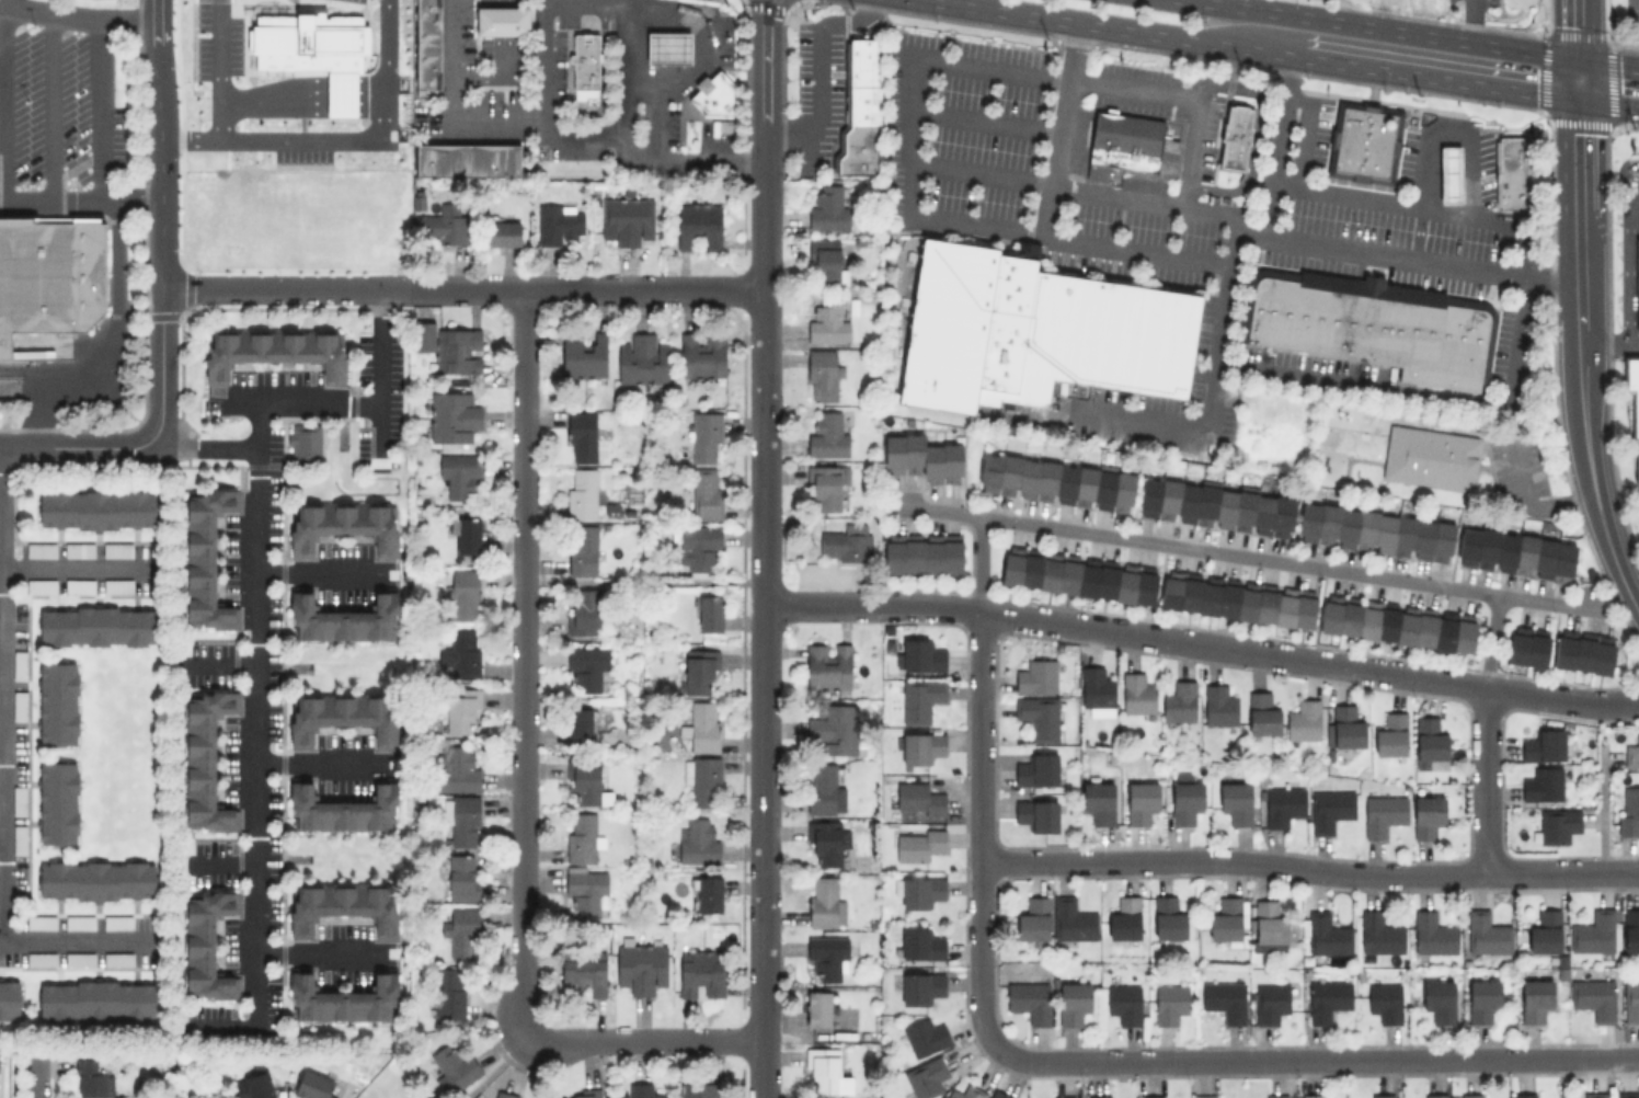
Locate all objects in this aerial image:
road: (504, 1)
road: (596, 2)
road: (8, 3)
road: (76, 16)
building: (504, 19)
road: (504, 19)
road: (1467, 20)
road: (1114, 27)
road: (1388, 28)
road: (1574, 28)
road: (704, 41)
building: (428, 43)
road: (664, 45)
building: (671, 46)
road: (678, 46)
road: (219, 54)
building: (309, 56)
building: (586, 58)
traffic signals: (1575, 59)
road: (546, 60)
road: (1607, 61)
gas station: (692, 62)
road: (817, 71)
road: (1433, 76)
road: (500, 77)
road: (1575, 78)
road: (603, 82)
road: (334, 87)
road: (366, 87)
road: (764, 87)
road: (313, 88)
road: (308, 94)
road: (333, 94)
road: (366, 94)
building: (717, 95)
building: (333, 96)
traffic signals: (1577, 98)
road: (305, 102)
road: (334, 102)
road: (366, 102)
road: (1607, 102)
road: (1, 105)
parking lot: (57, 106)
road: (49, 108)
road: (271, 108)
road: (333, 108)
road: (366, 108)
building: (863, 108)
road: (101, 112)
road: (908, 118)
road: (655, 119)
road: (984, 121)
road: (222, 123)
road: (546, 128)
road: (1452, 133)
building: (1237, 134)
road: (1254, 134)
road: (341, 137)
building: (1365, 142)
building: (1128, 144)
road: (159, 145)
road: (1276, 146)
road: (1303, 146)
building: (469, 158)
road: (686, 158)
gas station: (1477, 165)
building: (1514, 172)
building: (1452, 173)
road: (979, 174)
road: (1621, 175)
parking lot: (1638, 188)
road: (1631, 199)
road: (80, 204)
building: (827, 208)
road: (1045, 210)
building: (626, 219)
building: (558, 221)
road: (1235, 221)
building: (697, 225)
building: (444, 226)
building: (502, 232)
building: (824, 261)
road: (1626, 271)
building: (50, 275)
building: (1637, 284)
road: (595, 290)
road: (294, 291)
building: (826, 322)
building: (1375, 325)
building: (1038, 329)
building: (424, 336)
road: (110, 342)
road: (1609, 342)
building: (54, 348)
building: (275, 351)
building: (457, 351)
building: (701, 353)
building: (584, 355)
road: (1515, 356)
building: (642, 358)
road: (1580, 362)
road: (160, 367)
building: (823, 374)
road: (377, 381)
building: (1632, 398)
road: (294, 405)
building: (452, 416)
road: (1204, 423)
building: (826, 434)
building: (581, 436)
building: (706, 436)
building: (303, 442)
road: (76, 450)
road: (203, 450)
building: (1432, 457)
building: (921, 458)
building: (459, 476)
building: (1057, 482)
building: (826, 484)
building: (582, 493)
building: (706, 493)
road: (1527, 502)
building: (1216, 506)
building: (96, 508)
building: (343, 525)
building: (1375, 531)
building: (466, 535)
building: (846, 542)
building: (698, 546)
building: (39, 549)
building: (78, 549)
building: (116, 549)
building: (583, 550)
building: (922, 552)
building: (1515, 552)
road: (1241, 556)
building: (205, 560)
road: (978, 563)
road: (79, 571)
road: (323, 575)
building: (1078, 575)
building: (41, 585)
building: (79, 585)
building: (116, 585)
building: (463, 594)
building: (1238, 598)
road: (822, 603)
road: (1637, 608)
building: (584, 610)
building: (709, 613)
building: (343, 618)
building: (1396, 622)
building: (96, 626)
road: (761, 636)
road: (1489, 641)
building: (1527, 645)
building: (1583, 651)
road: (1261, 652)
building: (460, 653)
building: (920, 655)
road: (518, 662)
building: (18, 664)
road: (215, 664)
building: (827, 666)
building: (585, 667)
building: (700, 672)
building: (1036, 676)
building: (1097, 690)
building: (1137, 693)
building: (919, 699)
building: (1179, 701)
building: (19, 704)
building: (58, 704)
building: (1218, 704)
building: (461, 710)
building: (1261, 713)
building: (342, 716)
building: (1039, 717)
building: (1304, 720)
building: (578, 724)
building: (703, 725)
building: (1345, 725)
building: (834, 728)
building: (1390, 735)
building: (1429, 740)
building: (1543, 745)
building: (920, 747)
building: (1631, 753)
road: (254, 754)
building: (204, 758)
road: (322, 765)
building: (457, 767)
building: (1036, 769)
building: (702, 779)
road: (1483, 781)
building: (585, 784)
building: (1543, 784)
building: (822, 788)
building: (1184, 798)
building: (18, 799)
building: (918, 799)
building: (1098, 801)
building: (1141, 801)
building: (1236, 801)
building: (58, 802)
building: (1283, 803)
building: (1330, 809)
building: (343, 810)
building: (1629, 811)
building: (1383, 813)
building: (1036, 814)
road: (1602, 814)
building: (1426, 815)
building: (461, 819)
building: (1556, 825)
road: (978, 828)
building: (582, 837)
building: (18, 838)
building: (697, 840)
building: (824, 840)
building: (917, 844)
road: (216, 863)
road: (1308, 869)
building: (460, 877)
building: (96, 879)
building: (586, 890)
building: (919, 892)
building: (709, 893)
road: (0, 894)
building: (824, 902)
building: (343, 905)
building: (1168, 917)
building: (1032, 918)
building: (1124, 918)
building: (1073, 919)
building: (1226, 919)
building: (41, 922)
building: (79, 922)
building: (117, 922)
building: (1269, 926)
building: (1630, 929)
building: (461, 931)
building: (1545, 931)
building: (1593, 931)
building: (1379, 933)
building: (1432, 933)
building: (1486, 933)
building: (1326, 934)
building: (920, 942)
road: (76, 945)
building: (204, 945)
road: (324, 956)
building: (829, 956)
building: (39, 958)
building: (79, 958)
building: (117, 958)
building: (641, 967)
building: (1033, 972)
building: (584, 973)
building: (701, 973)
building: (917, 986)
building: (449, 994)
building: (1593, 997)
building: (10, 998)
building: (1327, 998)
building: (1483, 998)
building: (343, 999)
building: (1029, 999)
building: (1439, 999)
building: (1535, 999)
building: (96, 1000)
building: (1224, 1000)
building: (1271, 1000)
building: (1384, 1000)
building: (1071, 1002)
building: (1630, 1002)
building: (1124, 1003)
building: (1169, 1003)
building: (818, 1008)
building: (925, 1037)
road: (643, 1040)
road: (1317, 1057)
building: (454, 1066)
road: (498, 1066)
building: (823, 1070)
building: (926, 1077)
building: (92, 1079)
building: (312, 1085)
building: (253, 1086)
building: (696, 1089)
road: (33, 1090)
building: (639, 1090)
building: (586, 1093)
building: (966, 1093)
building: (998, 1094)
building: (1594, 1094)
building: (1628, 1094)
building: (505, 1095)
building: (1522, 1095)
building: (1099, 1096)
building: (1150, 1096)
building: (1205, 1096)
building: (1275, 1096)
building: (1313, 1096)
building: (1382, 1096)
building: (1439, 1096)
building: (1471, 1096)
building: (1063, 1097)

